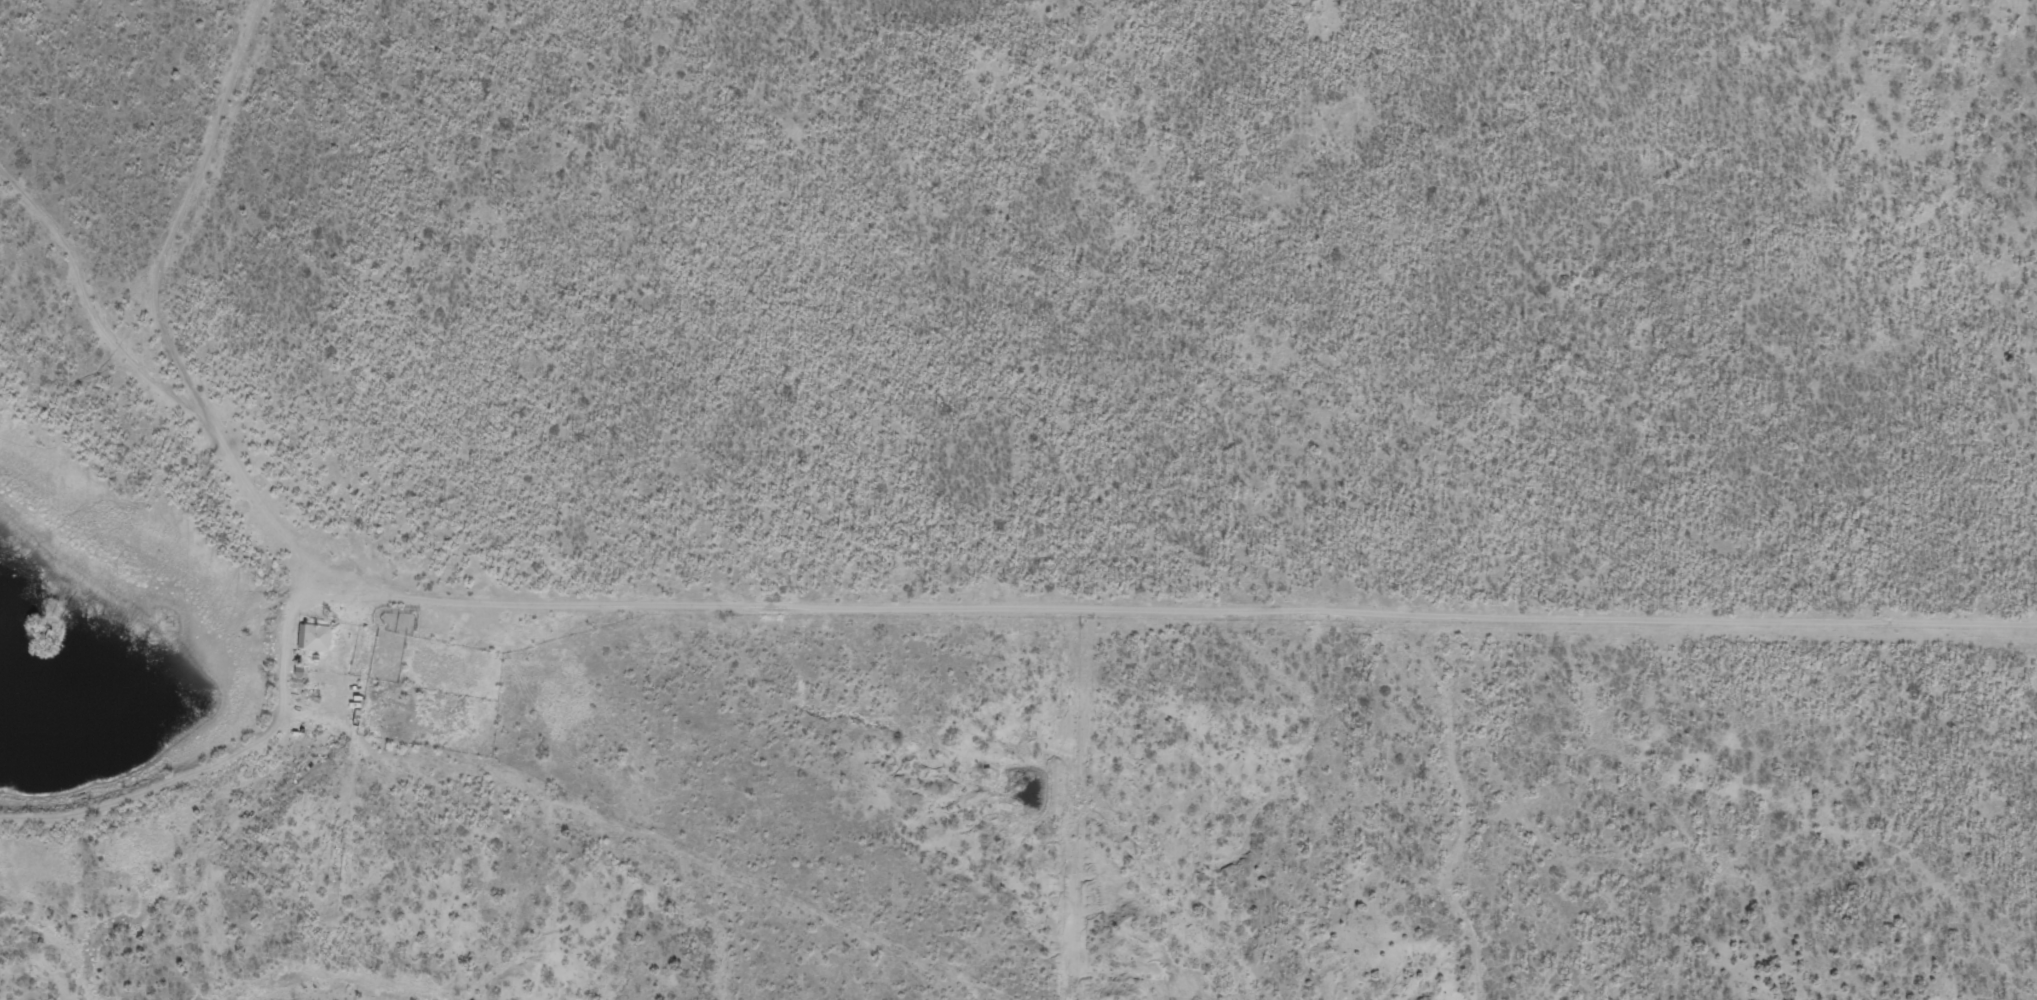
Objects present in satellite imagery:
road: (857, 592)
building: (309, 639)
road: (233, 788)

